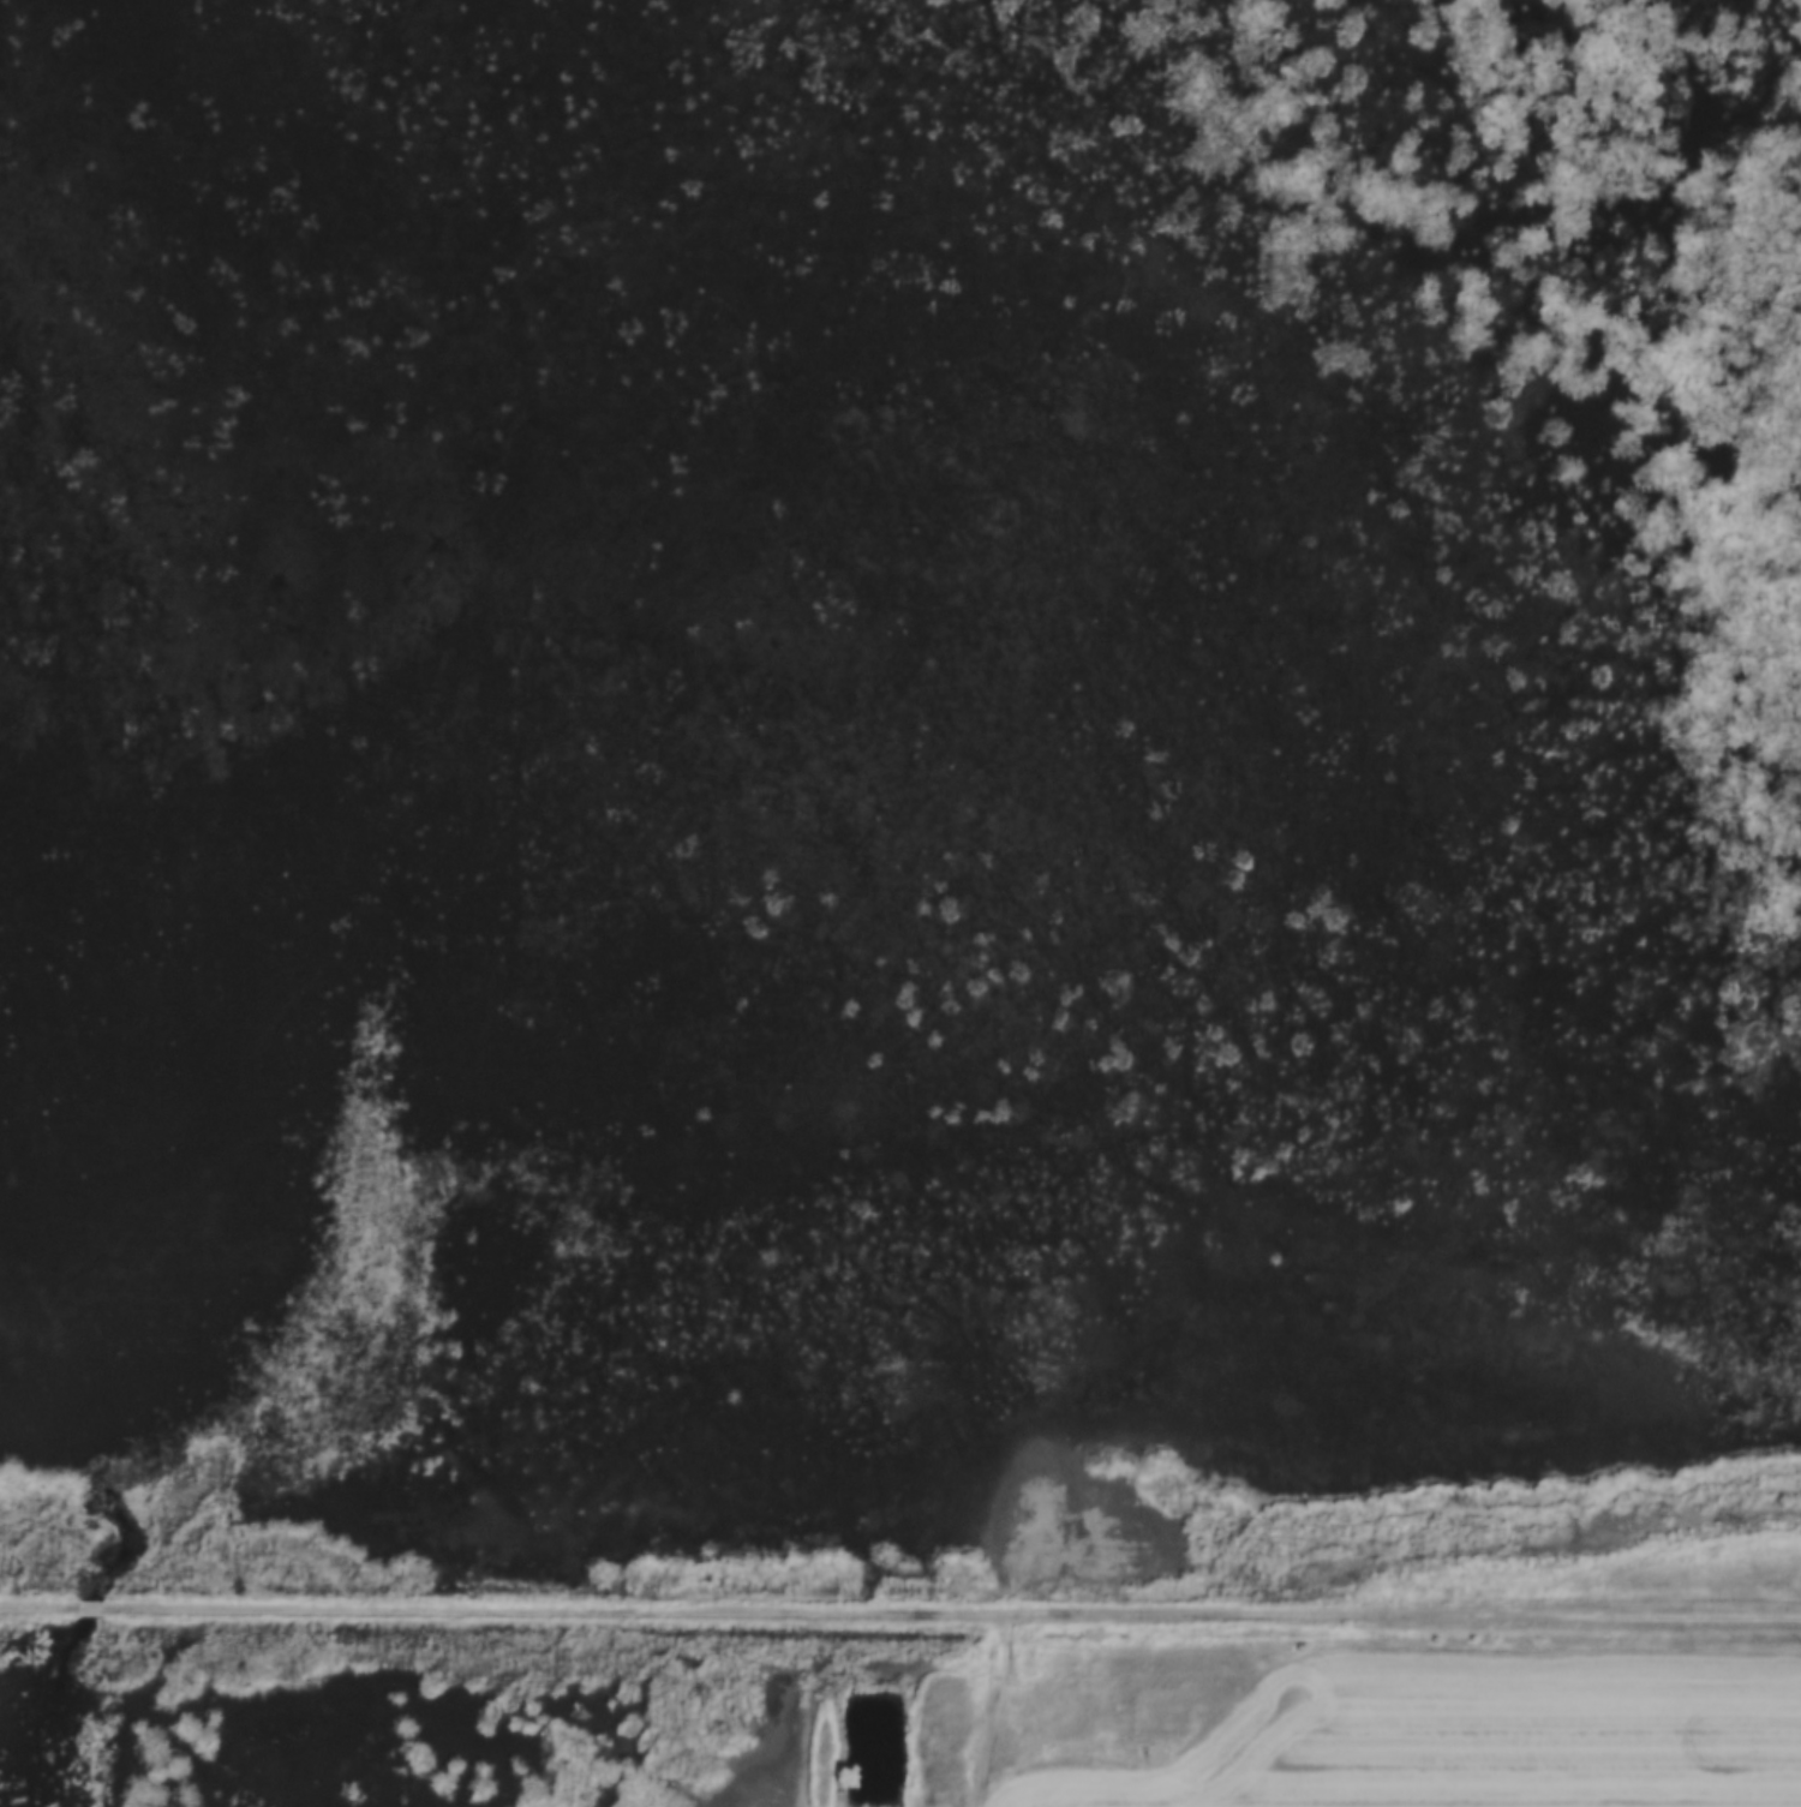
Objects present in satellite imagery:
road: (899, 1608)
building: (92, 1610)
road: (995, 1707)

